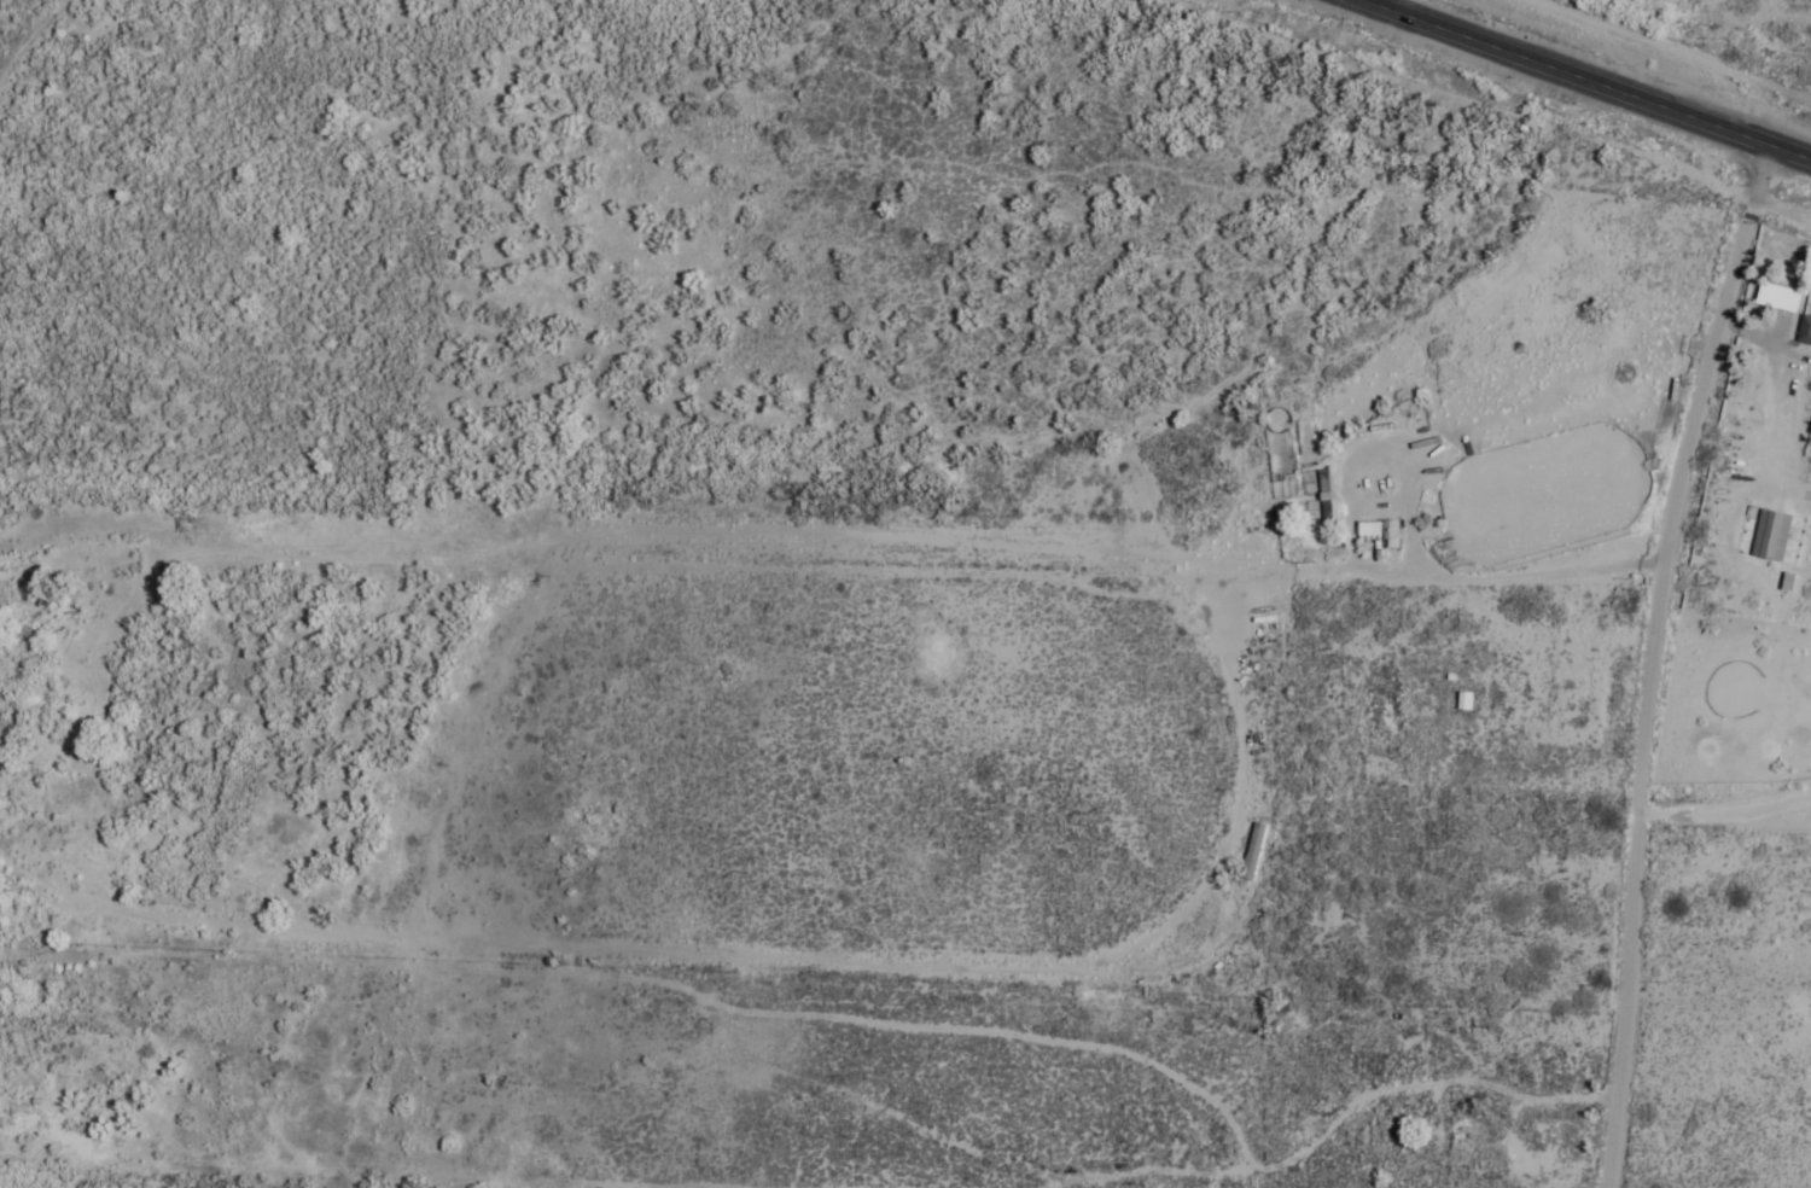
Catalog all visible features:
road: (1579, 77)
building: (1777, 299)
building: (1804, 332)
building: (1809, 449)
building: (1327, 499)
building: (1369, 532)
building: (1771, 537)
road: (1617, 653)
building: (1464, 703)
building: (1460, 1140)

